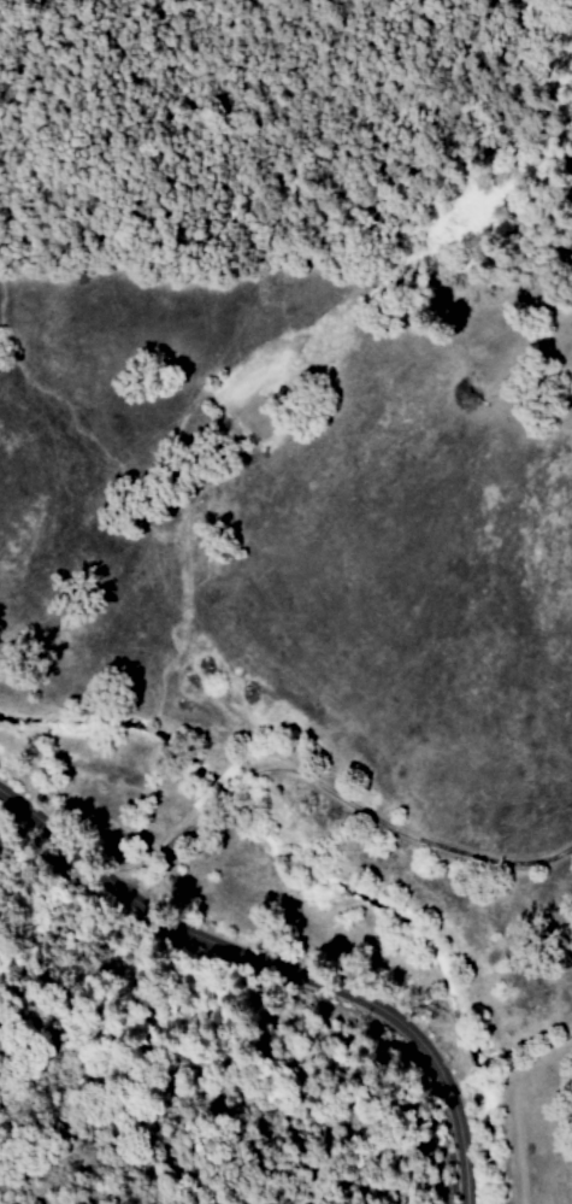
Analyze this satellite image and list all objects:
road: (331, 792)
road: (278, 969)

